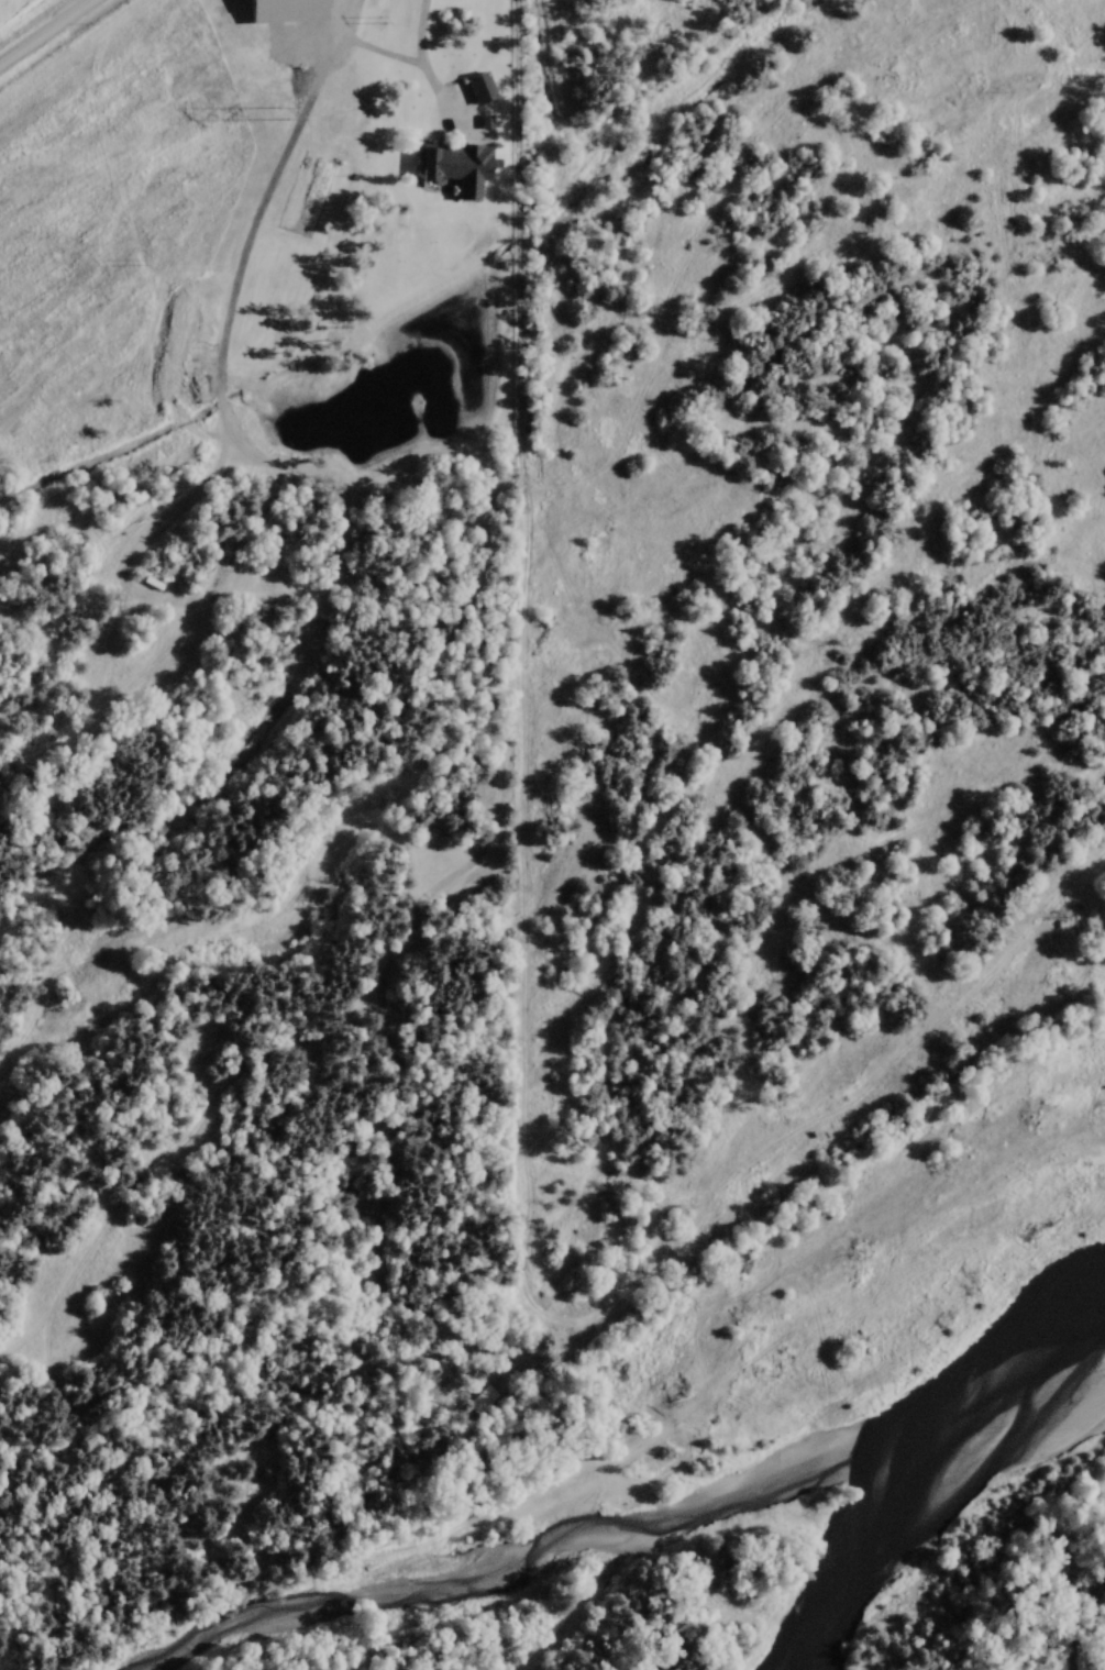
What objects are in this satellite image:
building: (277, 11)
road: (44, 31)
road: (420, 66)
building: (475, 88)
power tower: (280, 109)
building: (450, 165)
road: (263, 196)
building: (252, 609)
road: (192, 628)

